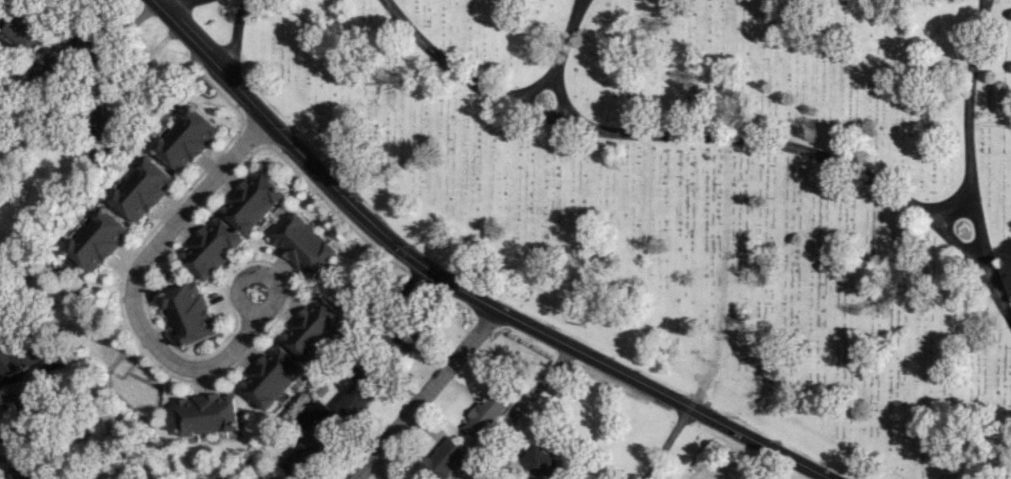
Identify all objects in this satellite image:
road: (177, 5)
building: (23, 35)
road: (235, 35)
building: (85, 50)
road: (556, 61)
road: (558, 94)
road: (973, 118)
building: (97, 121)
road: (704, 131)
building: (187, 138)
building: (143, 189)
park: (696, 189)
building: (252, 201)
building: (99, 239)
building: (303, 245)
building: (213, 248)
road: (455, 286)
building: (192, 314)
building: (314, 329)
road: (148, 333)
building: (403, 343)
building: (16, 357)
building: (273, 377)
building: (358, 393)
road: (423, 394)
building: (14, 406)
building: (487, 413)
building: (208, 414)
road: (665, 442)
building: (311, 447)
building: (447, 459)
building: (541, 462)
building: (23, 469)
building: (277, 477)

